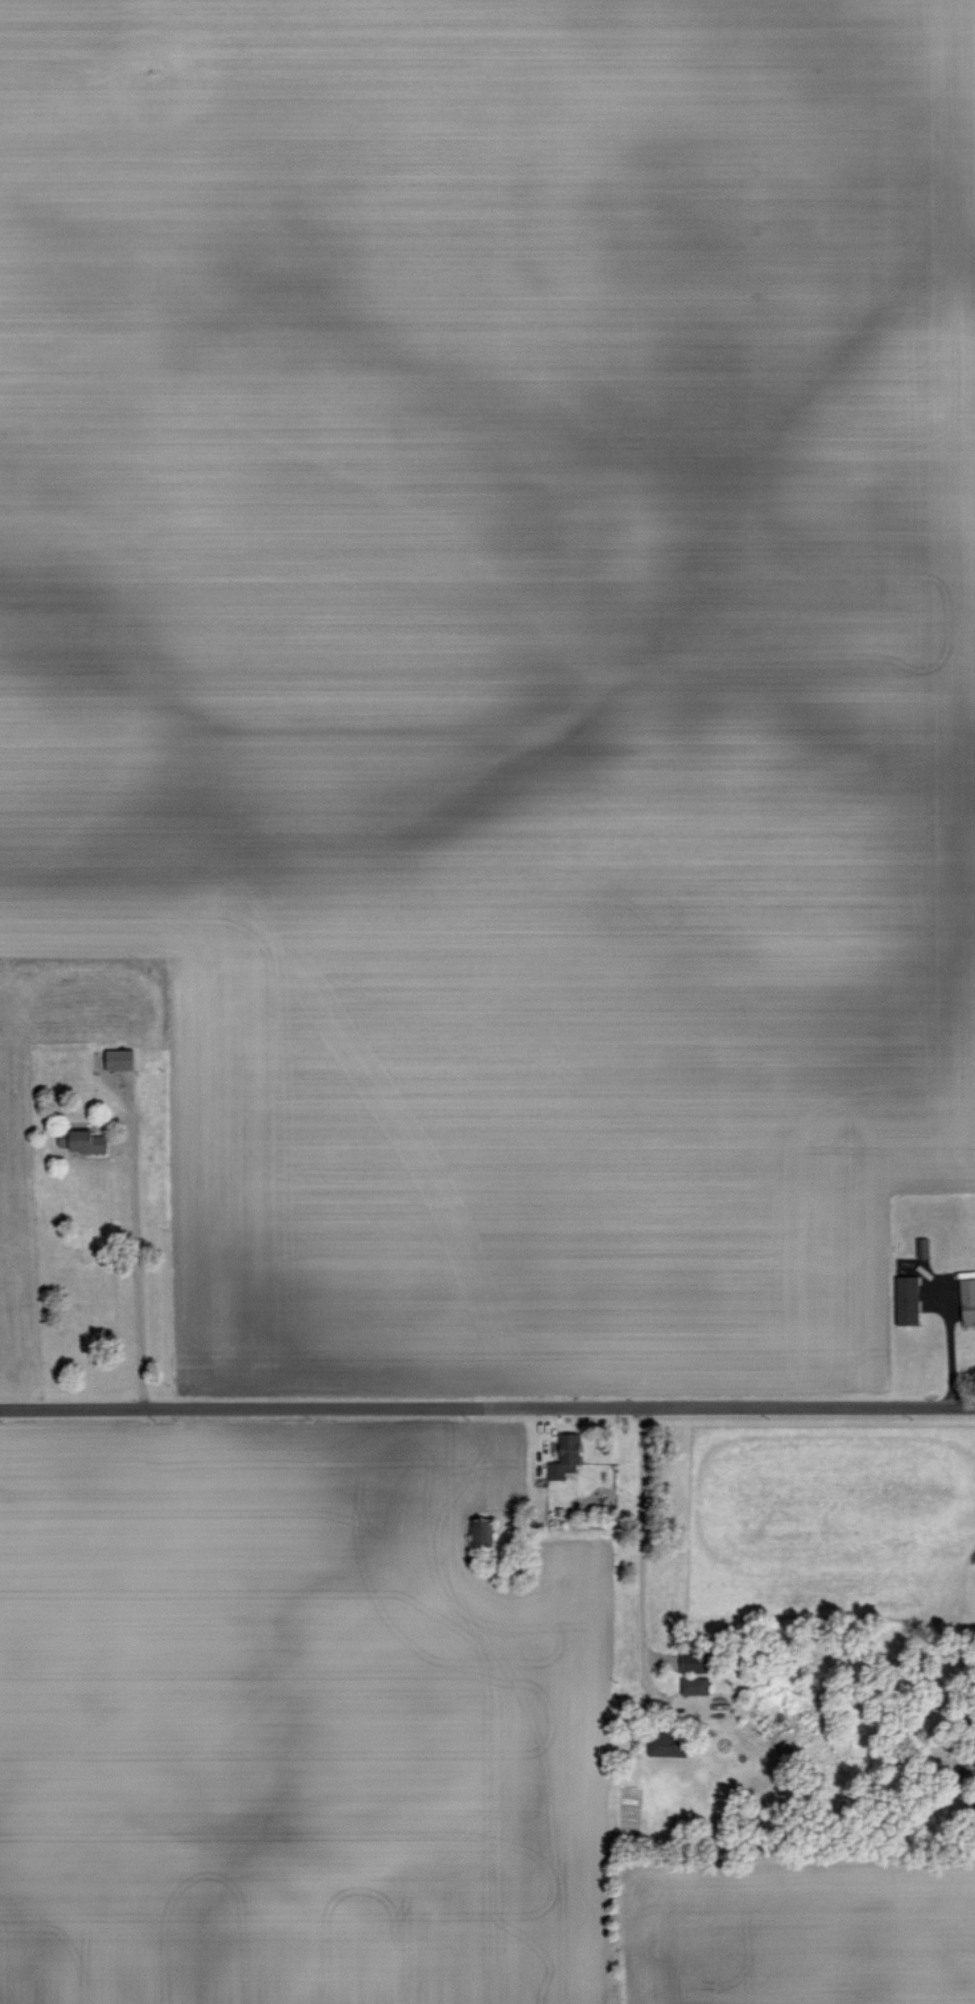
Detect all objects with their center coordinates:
building: (120, 1059)
building: (81, 1140)
building: (923, 1247)
road: (139, 1272)
building: (907, 1300)
building: (968, 1301)
road: (487, 1405)
building: (566, 1457)
building: (480, 1532)
road: (642, 1553)
building: (695, 1662)
building: (695, 1685)
building: (667, 1744)

